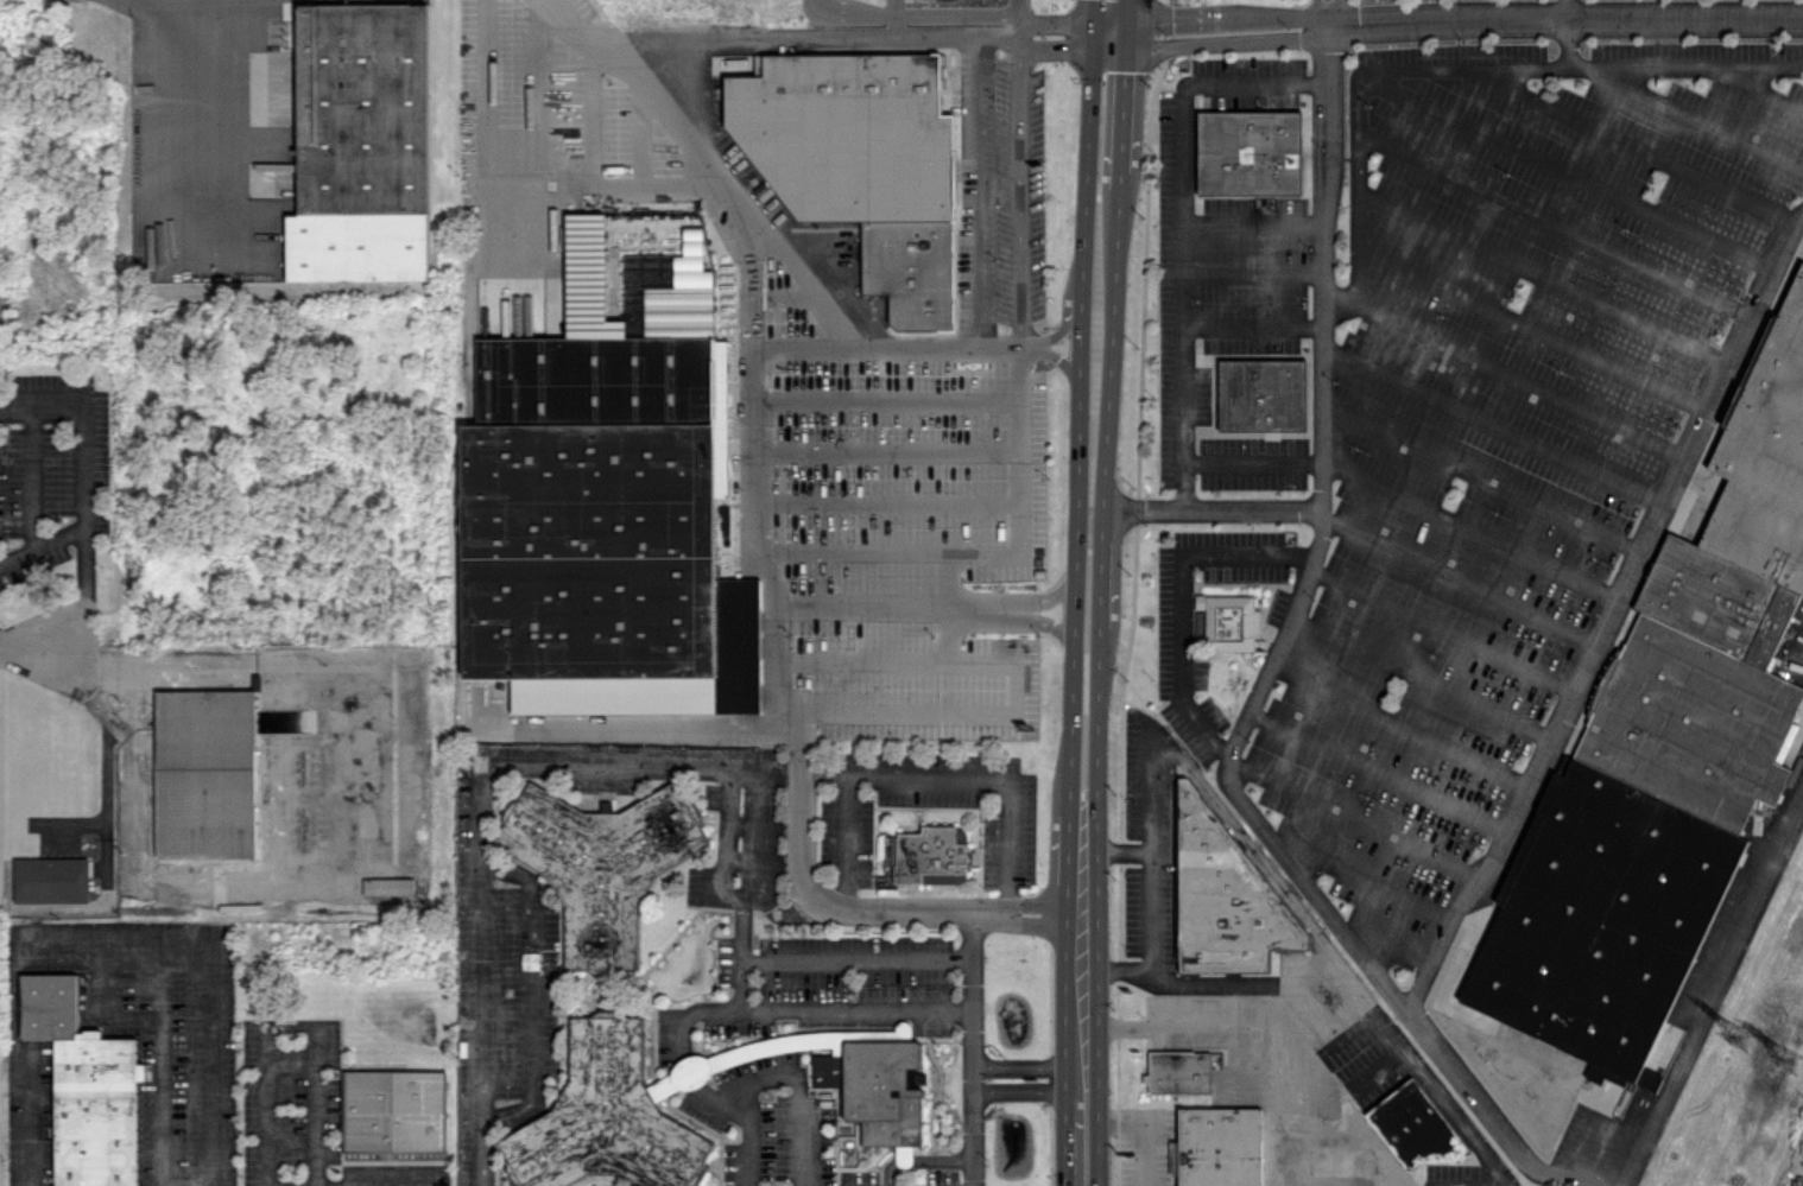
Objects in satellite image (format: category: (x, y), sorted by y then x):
road: (189, 5)
road: (1116, 8)
road: (1565, 11)
road: (1314, 14)
road: (1337, 14)
road: (972, 18)
road: (1020, 18)
road: (1459, 24)
road: (1044, 25)
road: (698, 26)
road: (1115, 26)
road: (1093, 34)
traffic signals: (1115, 34)
road: (849, 36)
road: (997, 36)
road: (1046, 44)
road: (1121, 51)
road: (611, 57)
road: (1684, 66)
road: (1364, 76)
road: (1757, 88)
road: (1126, 93)
road: (210, 97)
road: (1694, 118)
building: (362, 144)
road: (1631, 144)
road: (1122, 146)
building: (1250, 152)
building: (862, 163)
road: (1568, 172)
road: (520, 189)
road: (970, 189)
road: (1021, 189)
road: (1253, 217)
road: (1555, 223)
road: (1183, 227)
road: (772, 232)
road: (1115, 232)
road: (1253, 267)
road: (1544, 277)
road: (1109, 319)
road: (1253, 322)
road: (1533, 325)
road: (1052, 334)
road: (995, 342)
road: (1050, 355)
road: (1518, 376)
building: (1263, 394)
road: (886, 398)
road: (752, 404)
road: (1323, 411)
road: (1493, 426)
road: (1106, 427)
road: (81, 429)
road: (885, 450)
road: (1252, 463)
road: (1482, 474)
building: (607, 499)
road: (1213, 509)
road: (1073, 521)
road: (1017, 525)
road: (1470, 531)
road: (83, 547)
road: (1100, 566)
road: (1461, 582)
road: (1178, 592)
road: (1026, 598)
road: (1611, 615)
road: (1025, 619)
building: (1229, 622)
road: (1443, 632)
road: (93, 655)
road: (861, 664)
road: (1422, 680)
road: (979, 703)
road: (1096, 718)
road: (1402, 725)
road: (646, 729)
building: (1681, 736)
road: (793, 760)
road: (1181, 762)
building: (205, 769)
road: (1380, 769)
road: (817, 774)
road: (921, 776)
road: (479, 795)
road: (1355, 819)
road: (1124, 857)
building: (601, 862)
building: (51, 876)
road: (1365, 884)
building: (387, 886)
road: (1027, 900)
road: (1096, 902)
road: (1027, 924)
road: (973, 936)
road: (78, 943)
road: (1387, 951)
road: (924, 957)
road: (529, 991)
road: (1714, 994)
road: (1215, 997)
road: (1399, 998)
road: (831, 1009)
road: (264, 1026)
road: (1270, 1030)
power tower: (1733, 1034)
road: (1097, 1046)
power tower: (1792, 1065)
road: (209, 1066)
building: (1178, 1071)
road: (1056, 1076)
road: (970, 1077)
building: (1650, 1079)
building: (875, 1082)
building: (86, 1085)
road: (776, 1085)
road: (1058, 1102)
building: (396, 1112)
building: (613, 1112)
building: (1415, 1128)
road: (1152, 1131)
road: (1099, 1141)
building: (1221, 1146)
road: (315, 1185)
road: (355, 1185)

